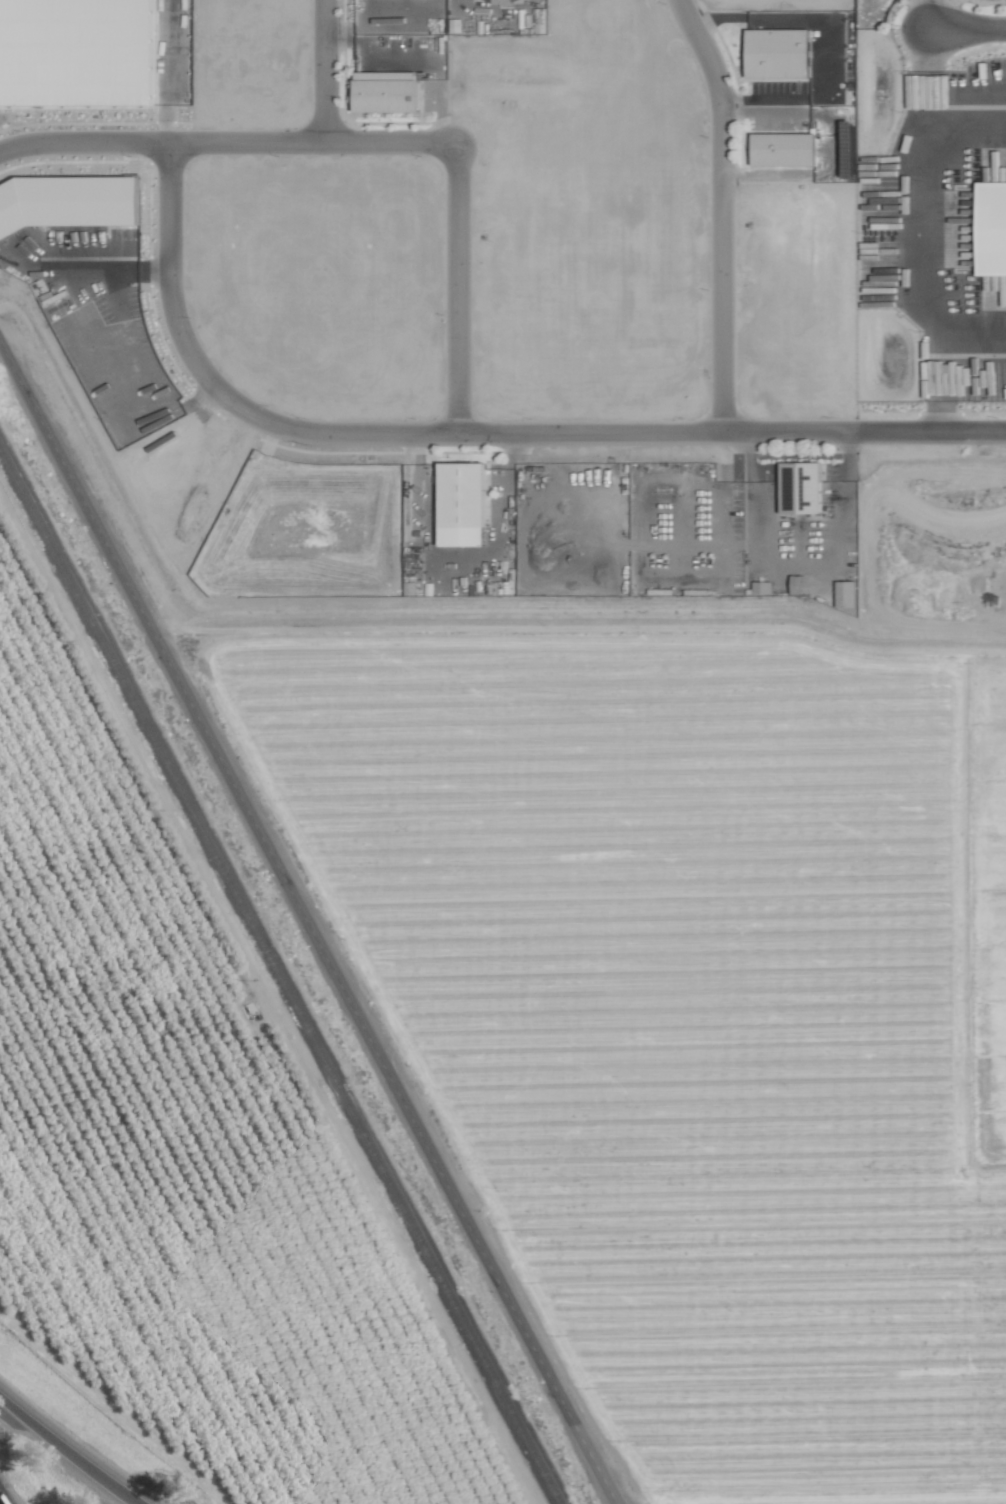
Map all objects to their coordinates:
road: (925, 14)
road: (966, 29)
building: (117, 32)
building: (778, 54)
road: (320, 70)
building: (385, 92)
road: (927, 120)
road: (222, 141)
building: (783, 151)
building: (67, 200)
road: (720, 212)
building: (991, 229)
road: (169, 275)
road: (933, 284)
road: (453, 292)
road: (970, 355)
road: (605, 434)
building: (800, 486)
building: (462, 502)
road: (793, 560)
building: (797, 584)
building: (760, 586)
building: (844, 593)
road: (306, 927)
railway: (279, 977)
road: (65, 1453)

